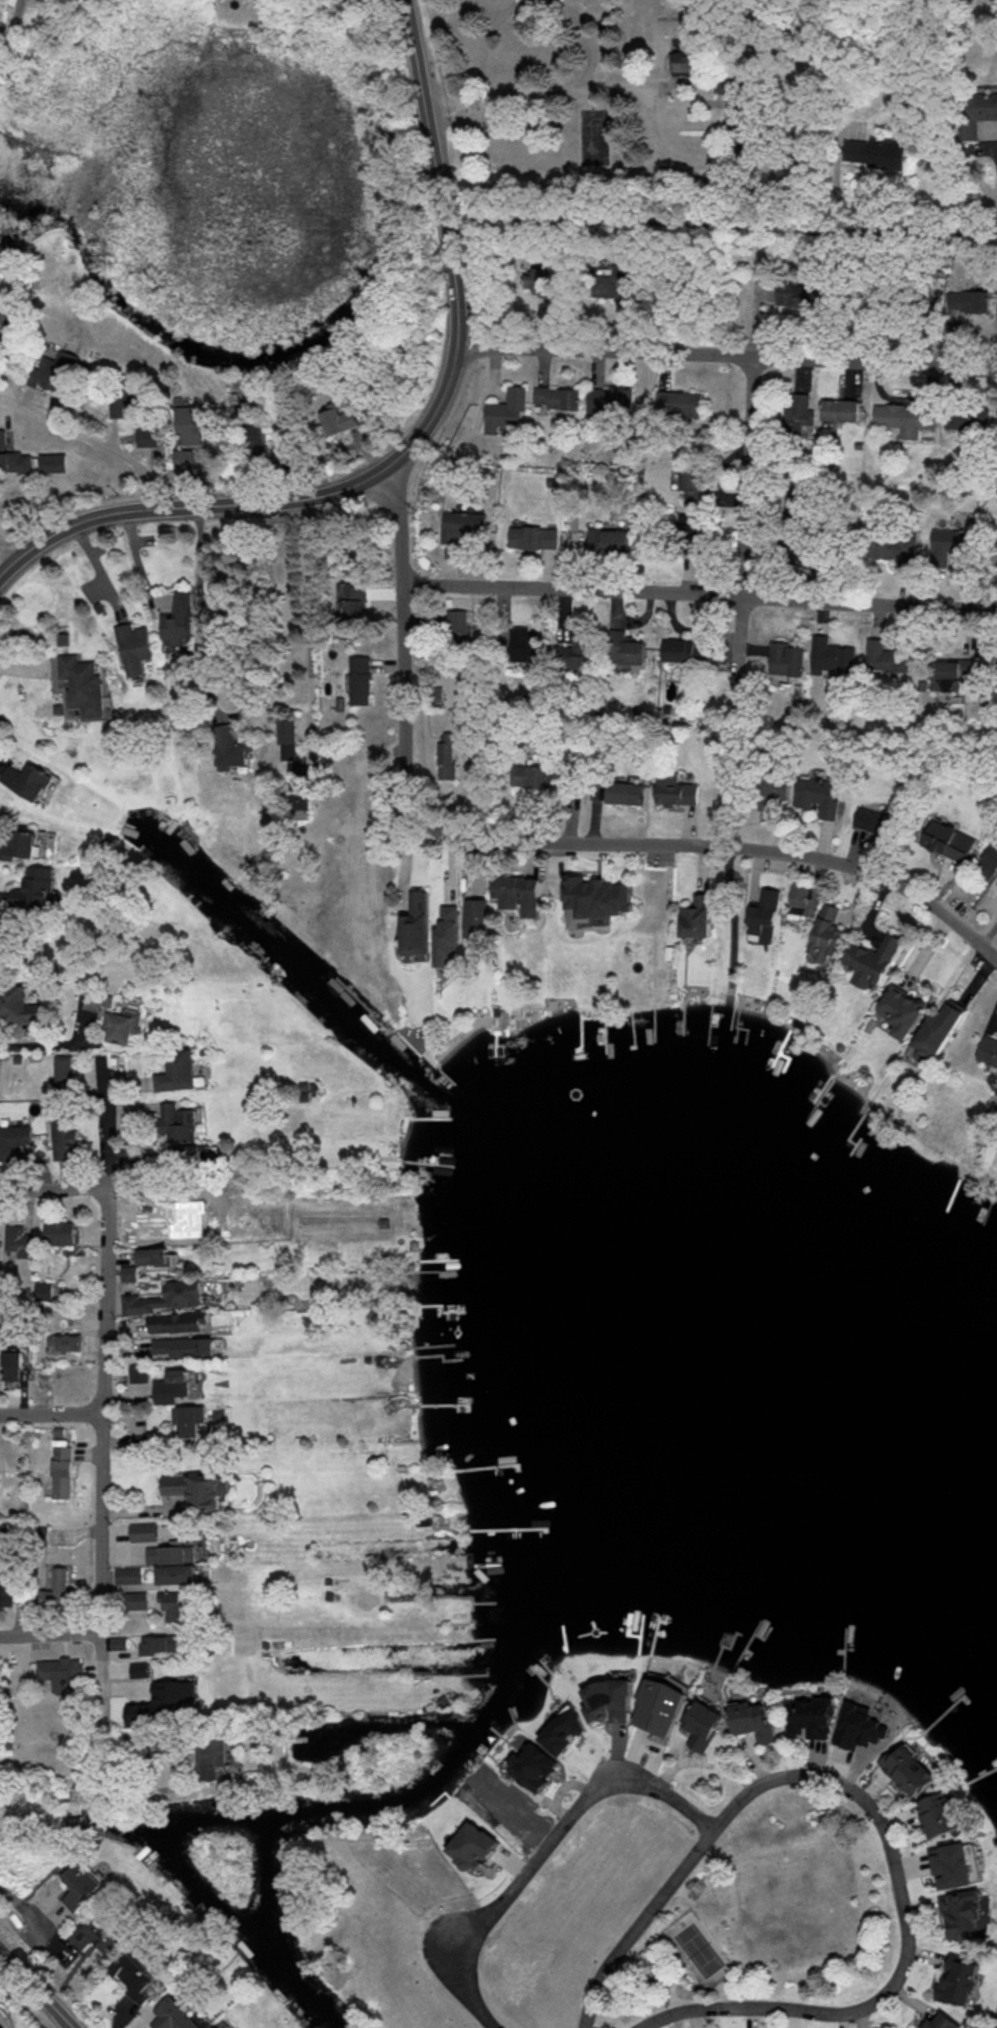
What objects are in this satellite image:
building: (50, 5)
road: (14, 17)
road: (589, 40)
road: (486, 41)
building: (685, 54)
road: (614, 83)
building: (737, 105)
building: (979, 112)
building: (874, 152)
road: (721, 224)
building: (612, 284)
building: (795, 296)
building: (967, 300)
road: (727, 356)
building: (54, 370)
building: (556, 396)
building: (609, 401)
building: (678, 403)
building: (506, 409)
building: (840, 409)
building: (797, 412)
building: (904, 418)
building: (966, 418)
building: (338, 420)
building: (188, 424)
building: (147, 436)
road: (415, 438)
building: (255, 440)
road: (91, 442)
building: (12, 458)
building: (52, 462)
road: (748, 477)
building: (693, 484)
road: (398, 524)
building: (462, 524)
building: (532, 536)
building: (607, 540)
building: (948, 542)
building: (894, 548)
building: (993, 556)
road: (6, 562)
road: (699, 595)
building: (351, 599)
road: (199, 614)
road: (308, 614)
building: (177, 619)
building: (457, 622)
building: (526, 645)
building: (133, 647)
building: (624, 650)
building: (830, 656)
building: (886, 656)
building: (570, 657)
building: (785, 658)
building: (948, 673)
building: (359, 680)
building: (81, 684)
building: (286, 738)
building: (229, 749)
building: (445, 756)
building: (530, 774)
building: (26, 780)
building: (299, 787)
building: (774, 788)
building: (675, 791)
building: (624, 792)
building: (817, 793)
building: (873, 821)
building: (948, 840)
building: (18, 844)
road: (602, 846)
building: (988, 862)
road: (702, 870)
building: (35, 888)
building: (519, 893)
road: (694, 894)
building: (594, 899)
building: (803, 899)
building: (765, 914)
road: (732, 916)
building: (700, 918)
building: (477, 921)
building: (417, 924)
building: (826, 932)
building: (448, 941)
building: (871, 960)
road: (685, 962)
building: (96, 1000)
building: (19, 1008)
building: (902, 1010)
pier: (684, 1021)
pier: (719, 1022)
building: (120, 1025)
pier: (736, 1025)
building: (939, 1029)
pier: (740, 1039)
road: (43, 1046)
building: (988, 1050)
building: (62, 1070)
building: (177, 1071)
building: (177, 1122)
road: (105, 1127)
building: (63, 1138)
building: (13, 1139)
building: (193, 1151)
road: (49, 1189)
building: (59, 1232)
building: (17, 1240)
building: (152, 1255)
building: (128, 1272)
building: (42, 1290)
building: (165, 1297)
building: (176, 1321)
building: (68, 1341)
building: (183, 1346)
building: (11, 1365)
building: (138, 1372)
building: (171, 1386)
road: (50, 1414)
building: (192, 1423)
road: (100, 1430)
building: (61, 1471)
building: (197, 1488)
building: (143, 1531)
building: (170, 1554)
building: (175, 1573)
building: (127, 1575)
building: (58, 1588)
building: (8, 1589)
building: (135, 1599)
building: (174, 1604)
road: (49, 1635)
building: (158, 1643)
building: (139, 1669)
building: (60, 1672)
building: (166, 1700)
building: (610, 1700)
building: (661, 1706)
building: (811, 1717)
building: (753, 1720)
building: (704, 1724)
building: (862, 1724)
building: (566, 1731)
building: (213, 1757)
building: (534, 1767)
building: (908, 1768)
building: (938, 1814)
road: (877, 1817)
building: (474, 1845)
road: (546, 1851)
building: (952, 1864)
building: (80, 1885)
building: (962, 1912)
road: (31, 1915)
building: (96, 1934)
building: (136, 1977)
building: (959, 1979)
road: (36, 1989)
building: (173, 2015)
building: (942, 2022)
building: (216, 2027)

